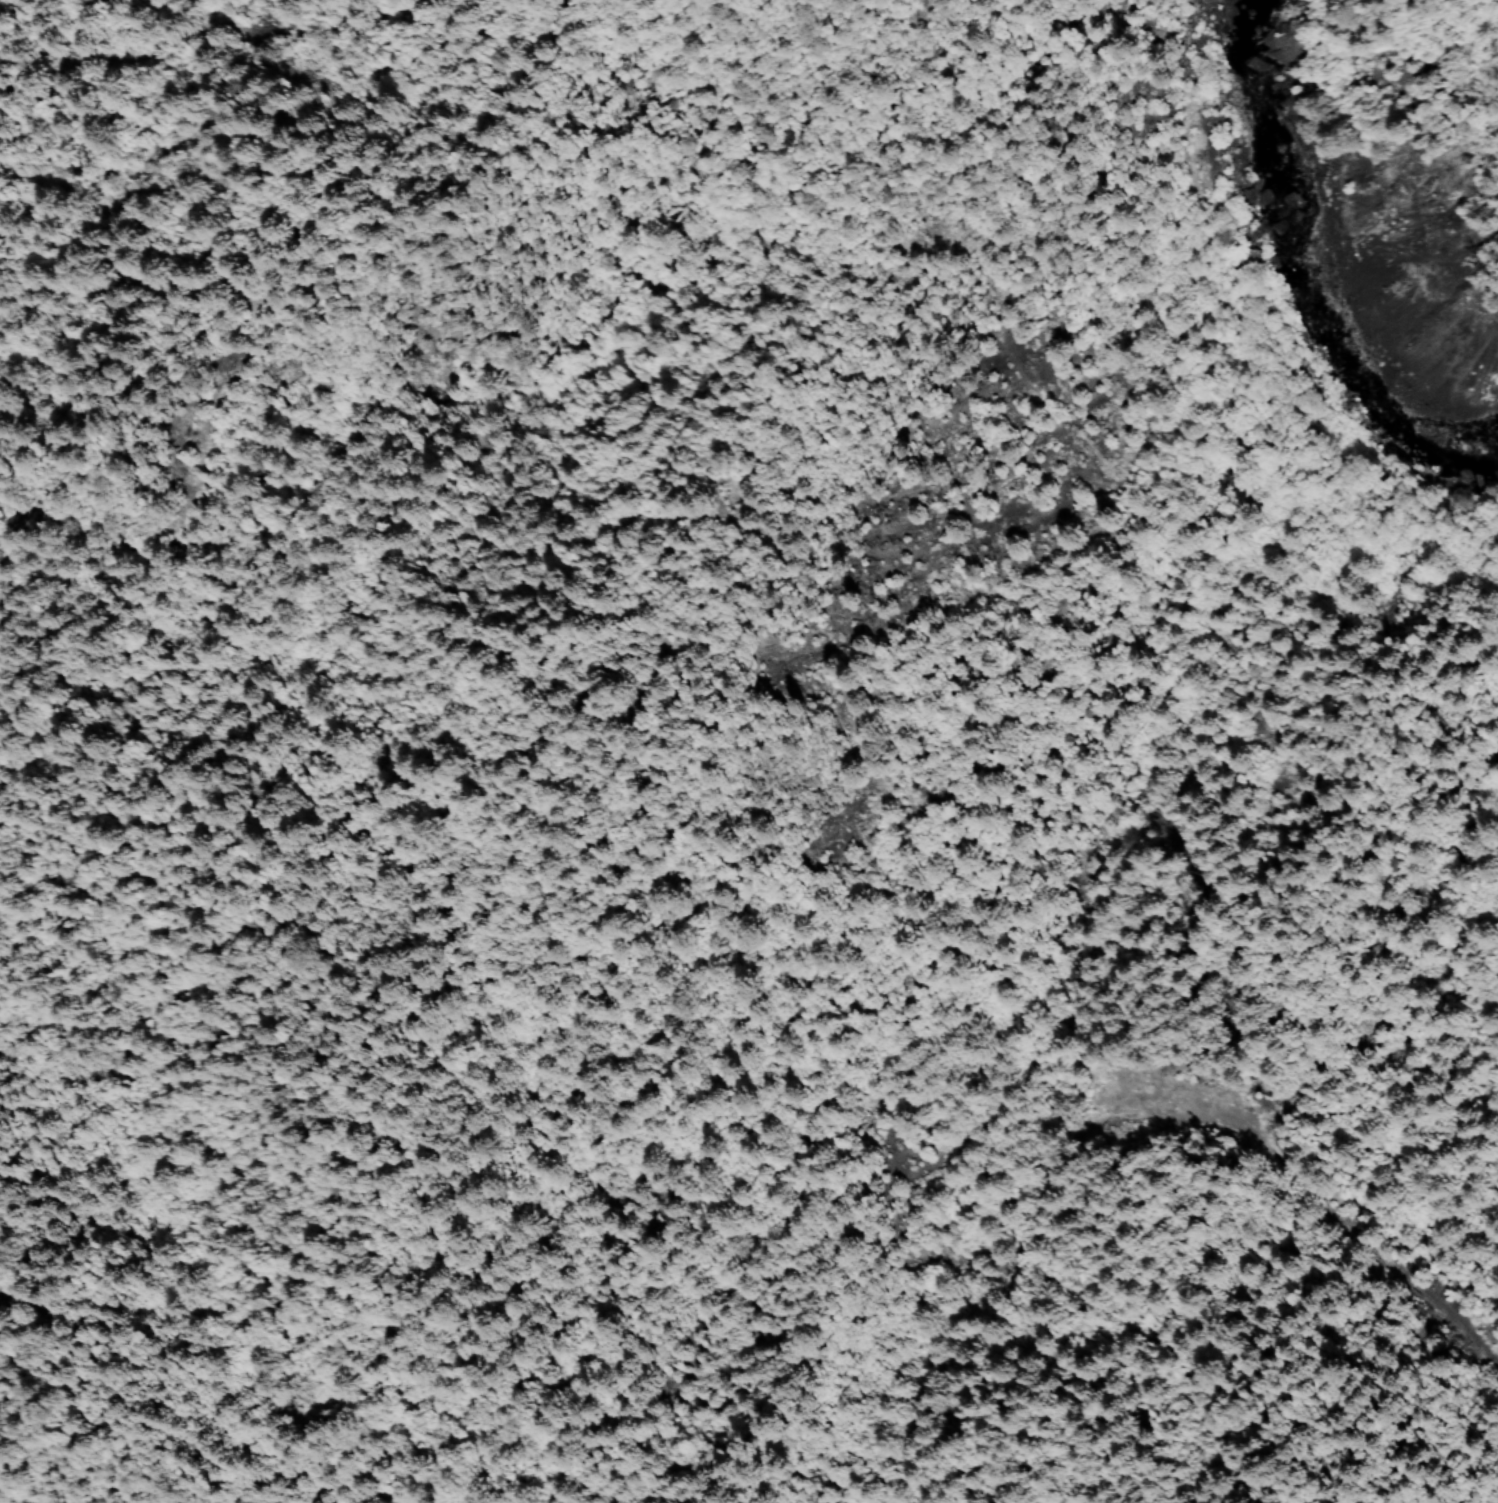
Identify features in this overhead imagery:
river: (1316, 271)

